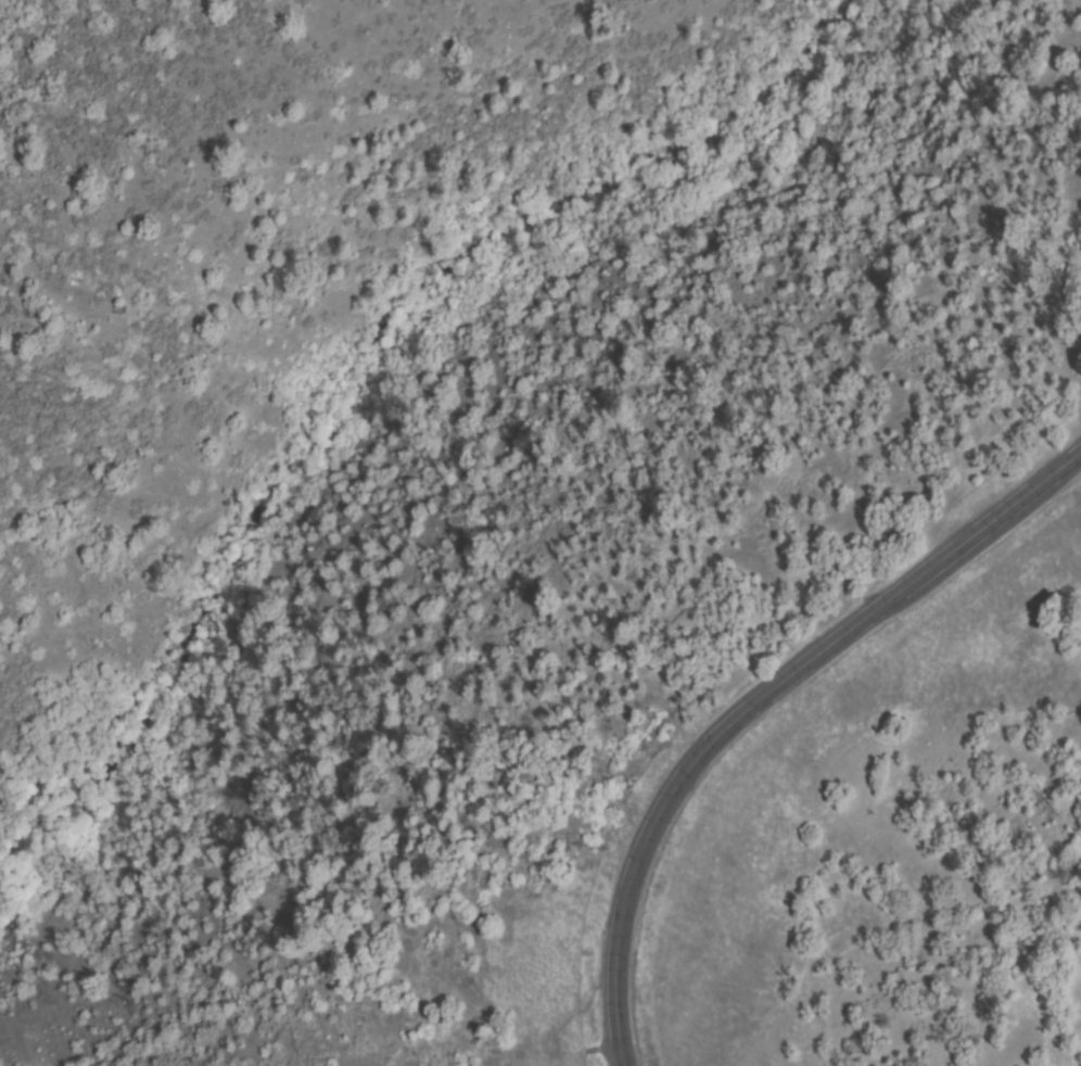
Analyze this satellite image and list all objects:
road: (756, 701)

